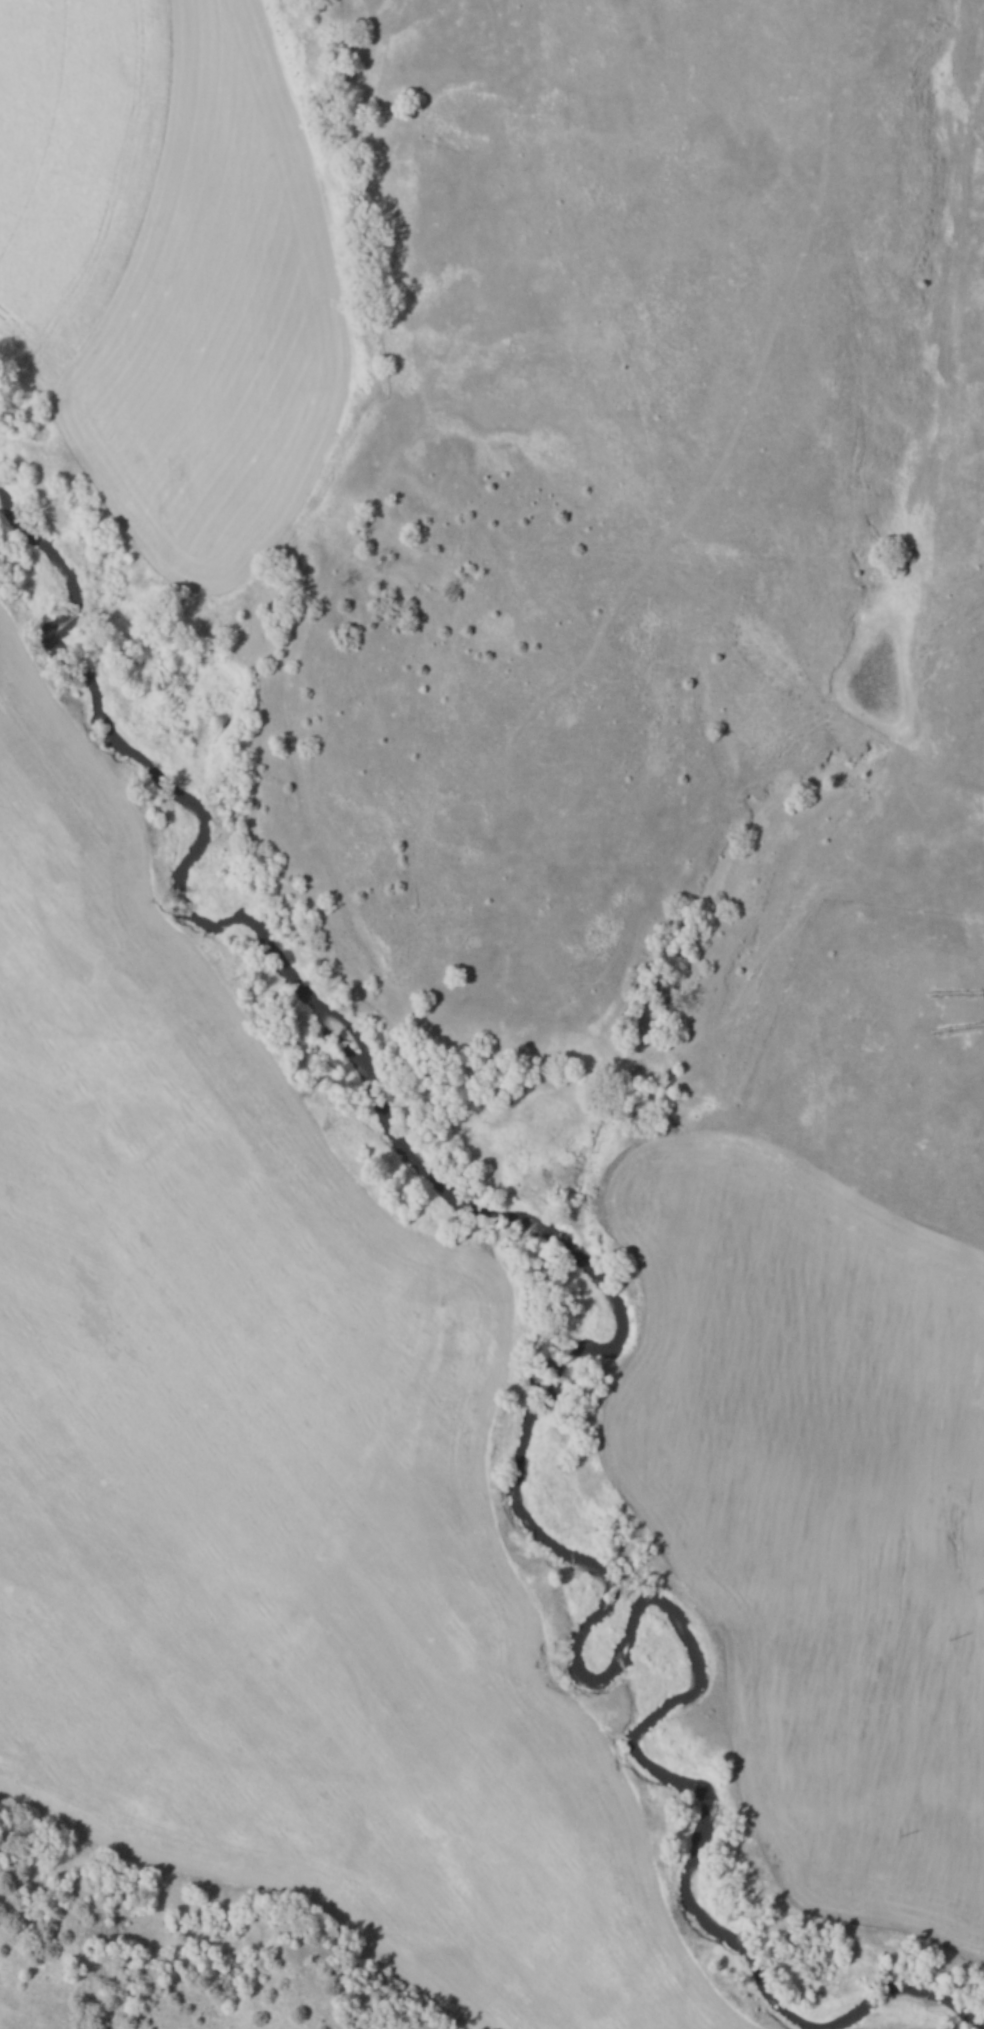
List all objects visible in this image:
crop: (68, 155)
crop: (206, 310)
crop: (824, 1509)

